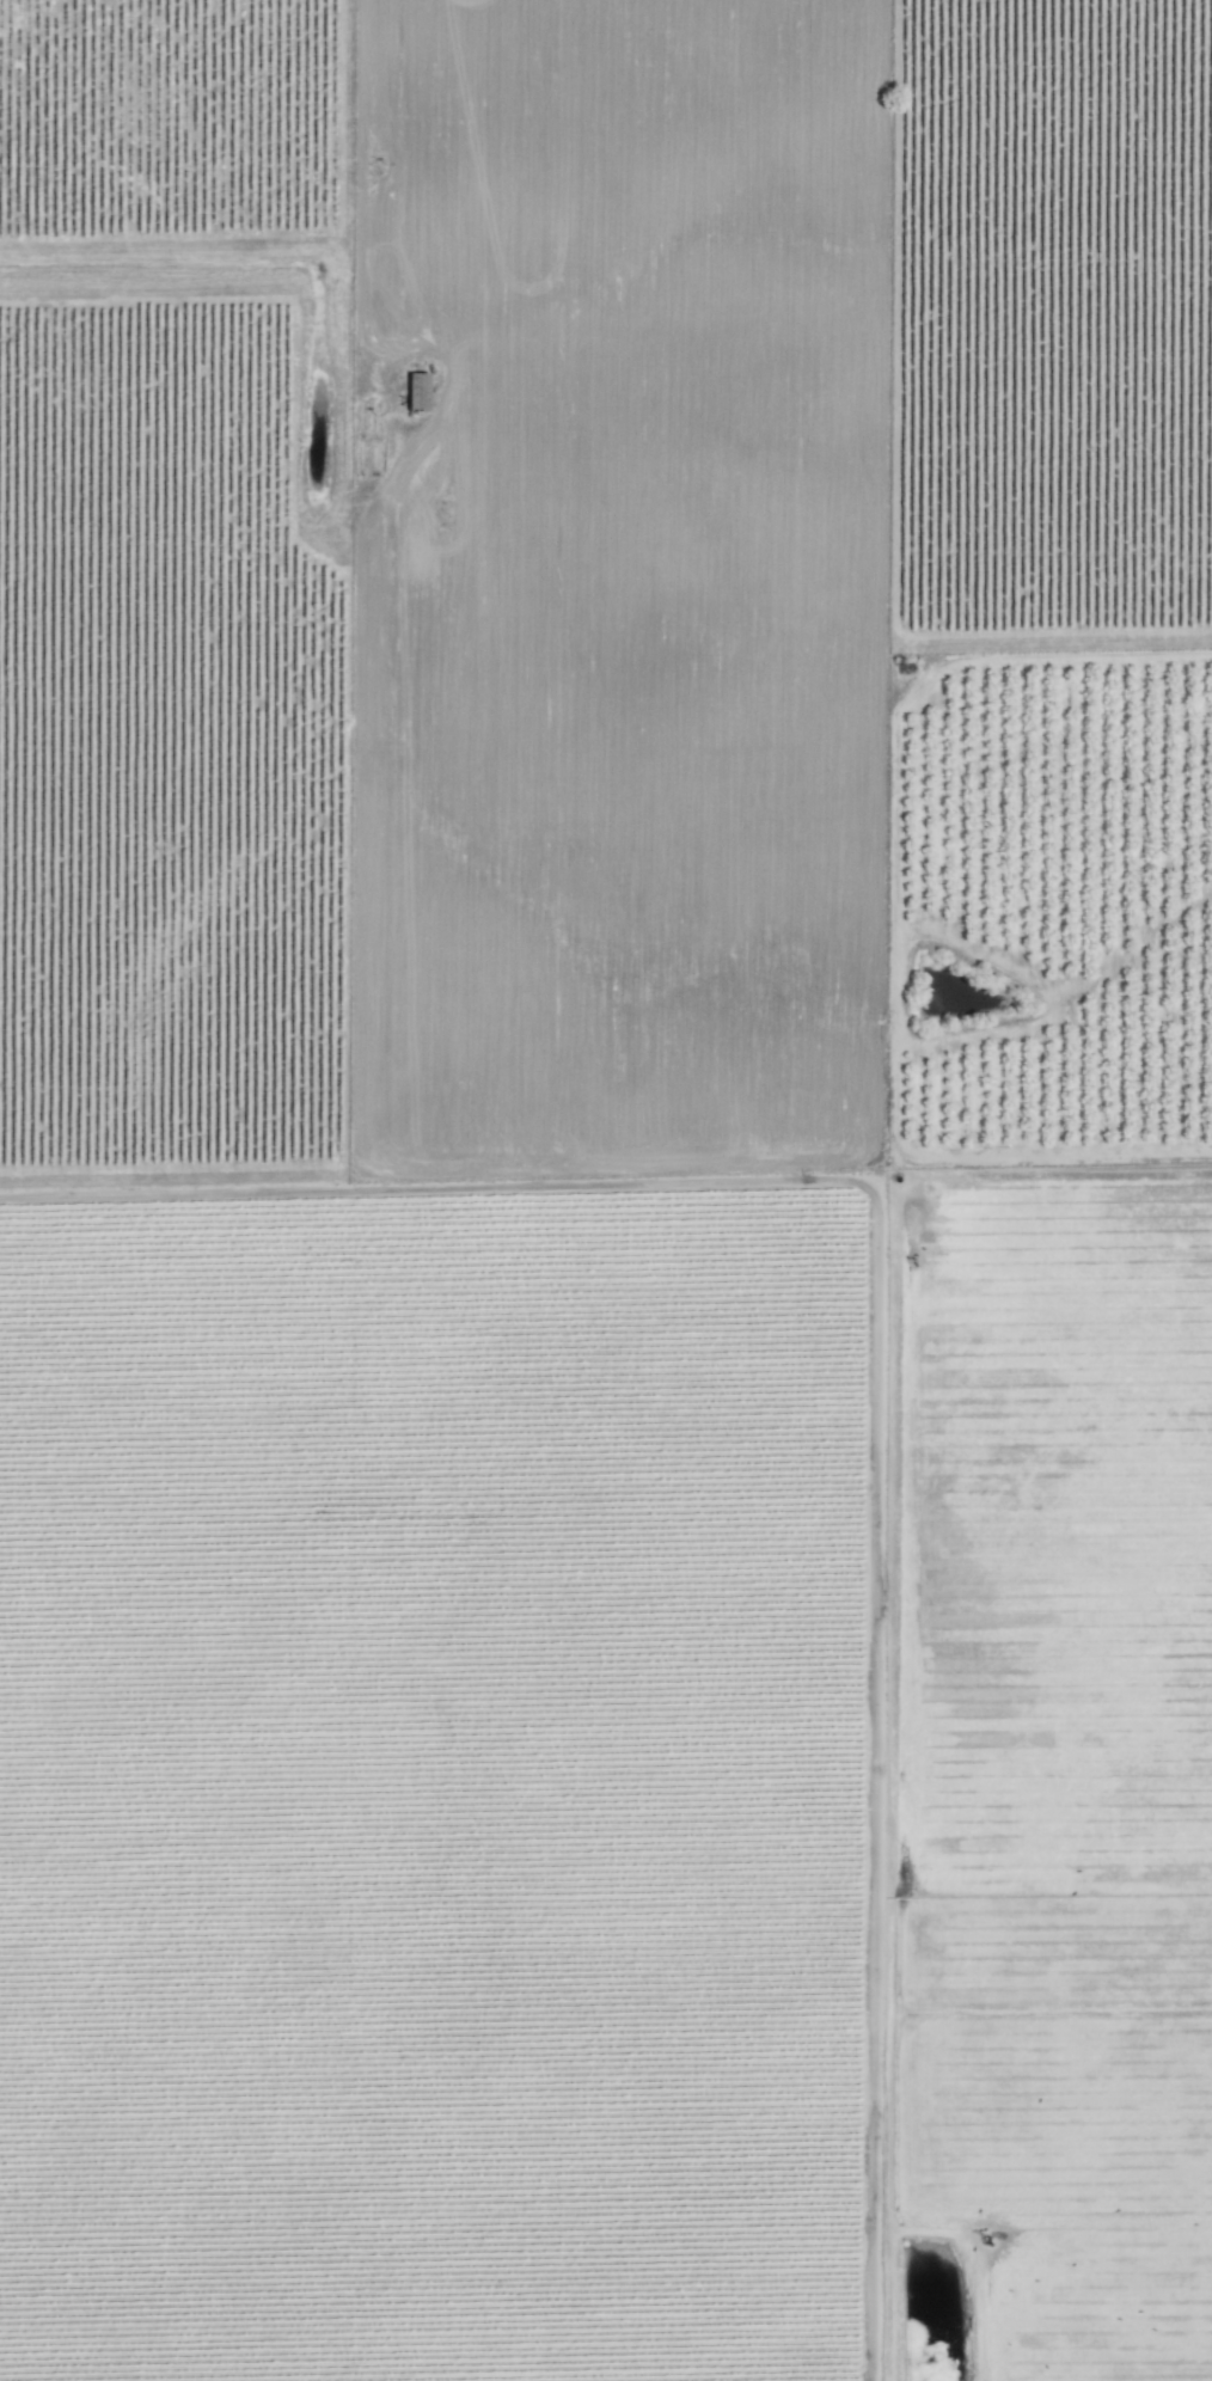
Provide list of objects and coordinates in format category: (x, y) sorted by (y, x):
road: (867, 1358)

